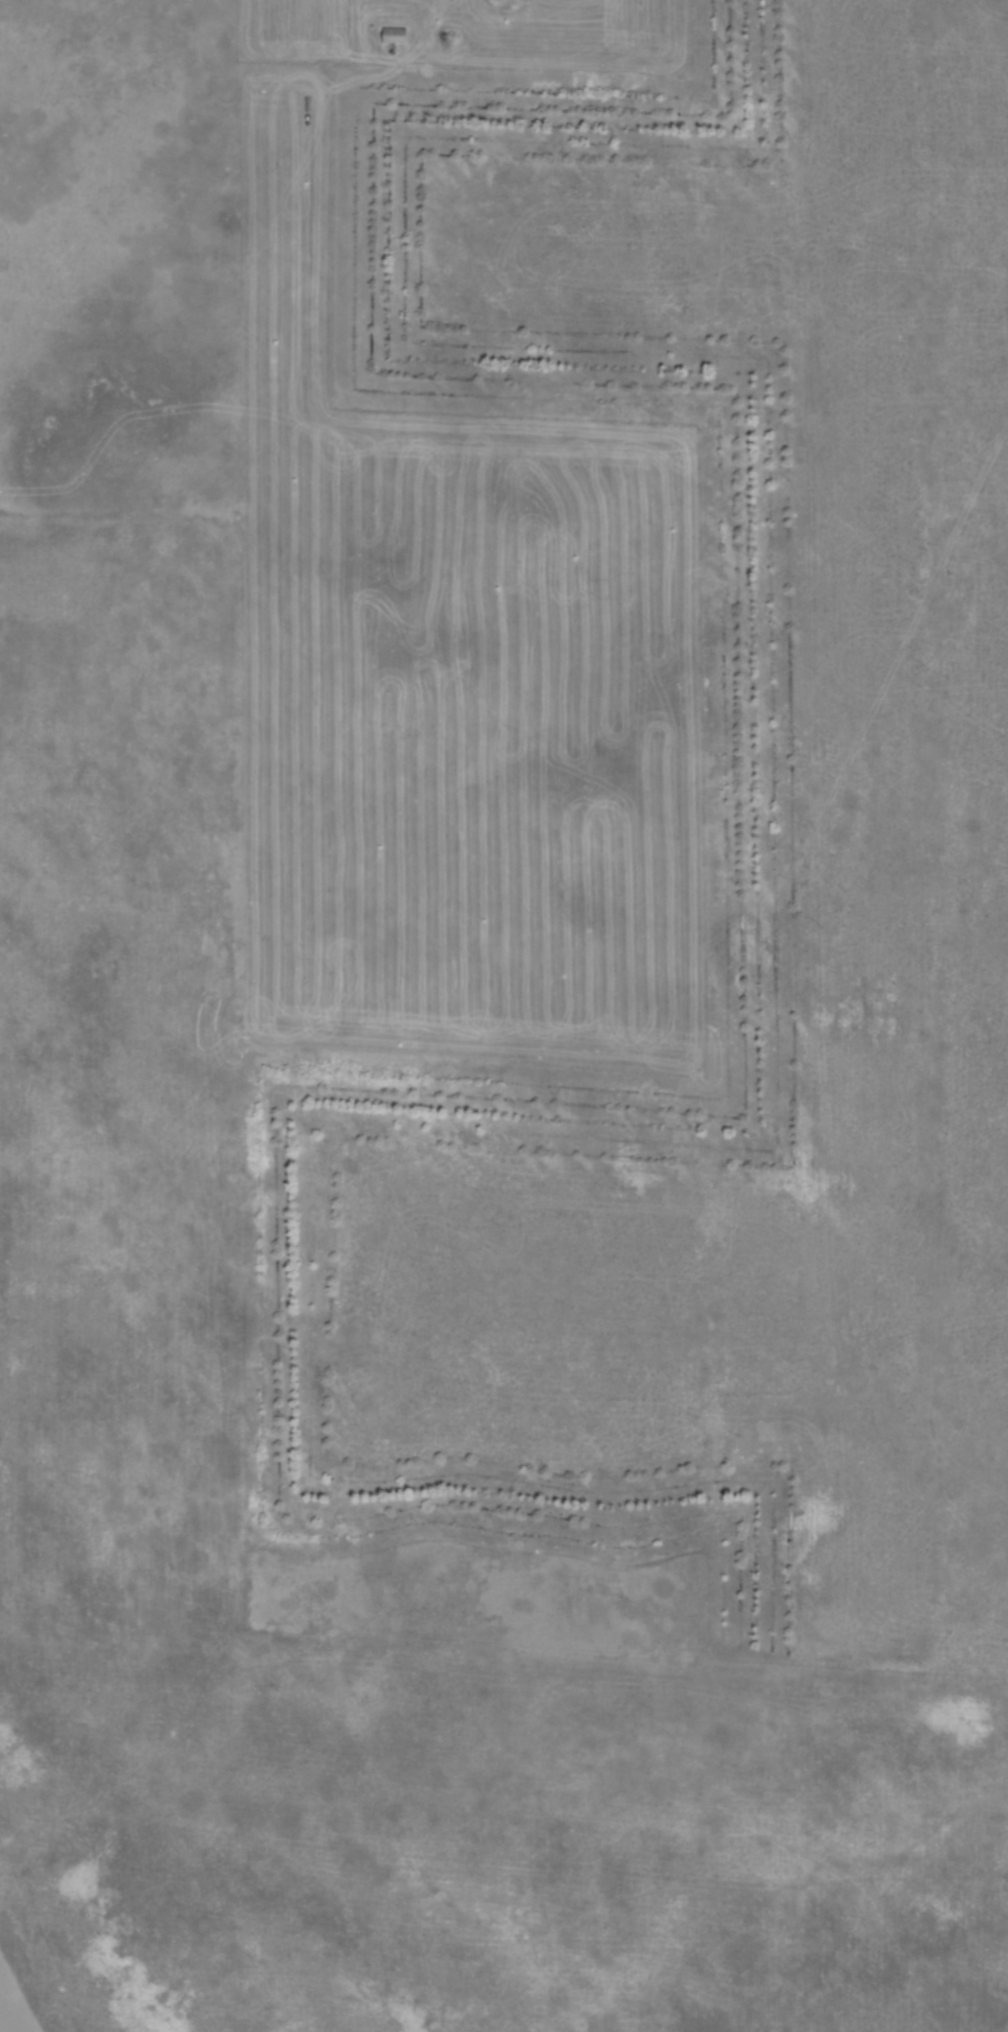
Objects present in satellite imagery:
building: (393, 33)
crop: (17, 1998)

